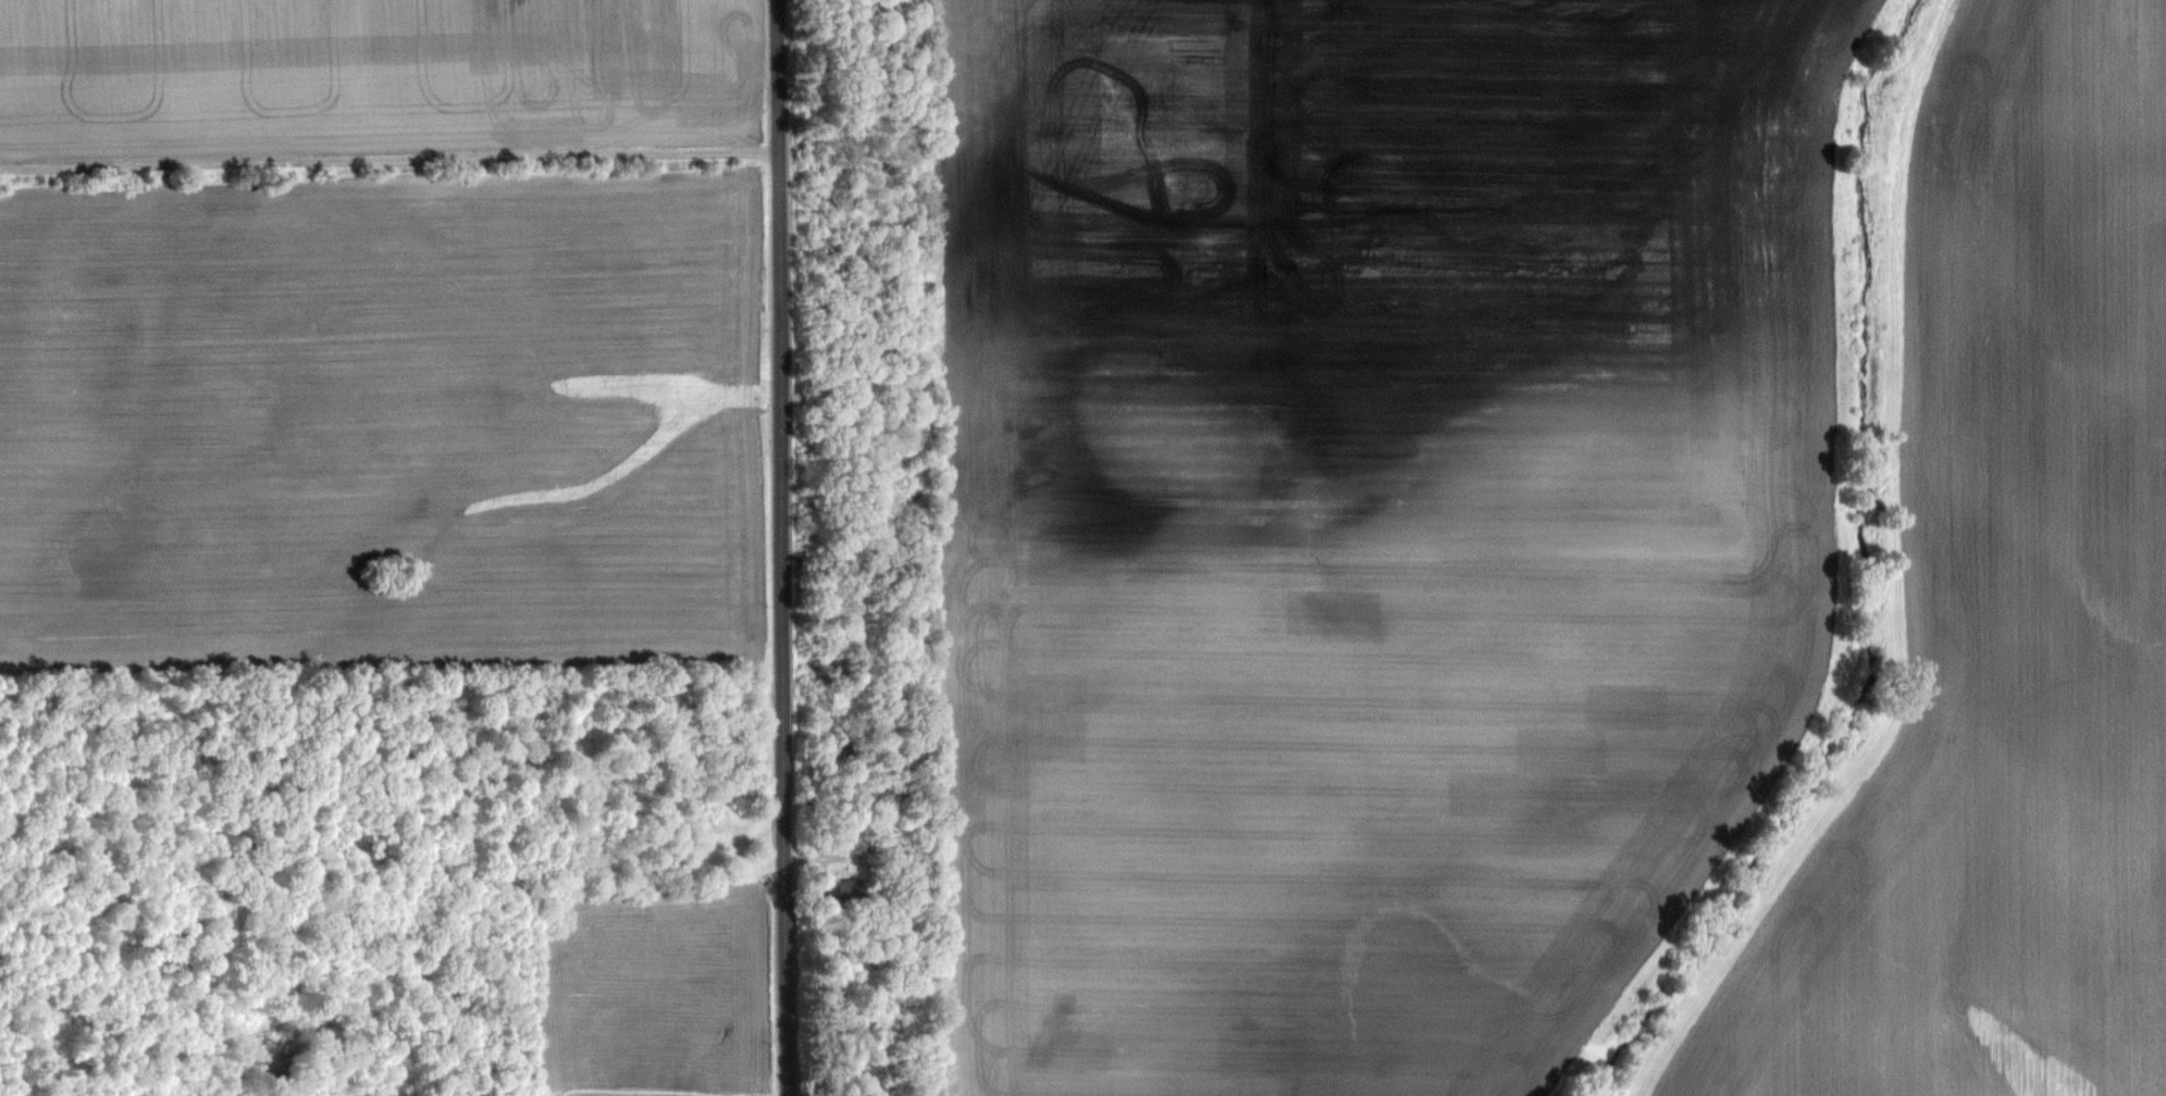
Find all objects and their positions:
road: (781, 548)
building: (842, 888)

